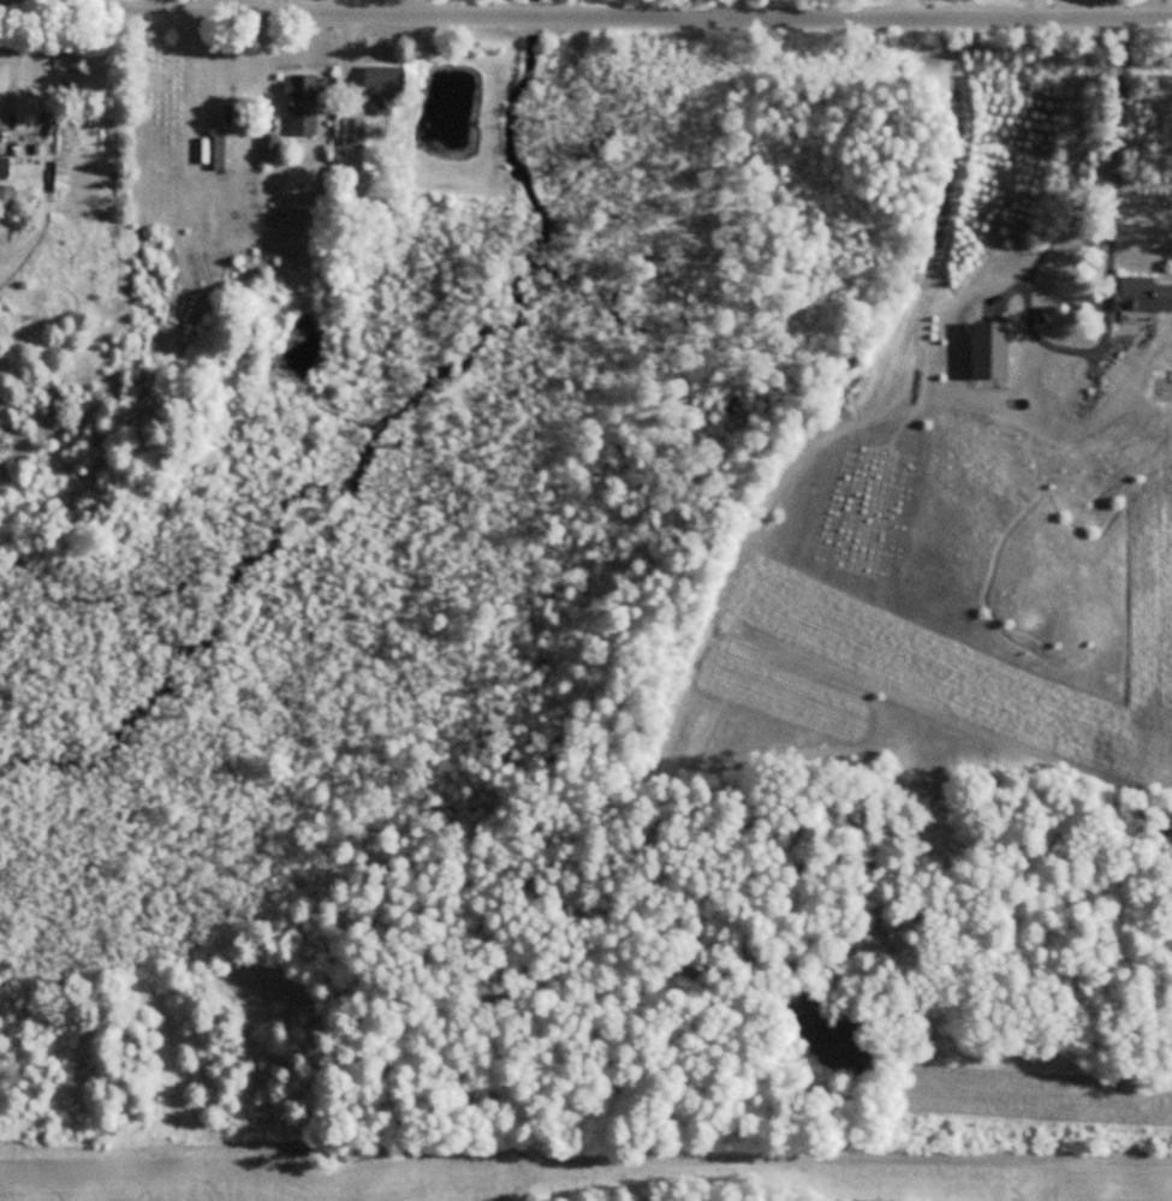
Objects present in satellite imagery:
road: (906, 8)
road: (585, 14)
building: (380, 84)
building: (301, 105)
building: (352, 130)
building: (224, 151)
building: (4, 167)
building: (4, 196)
building: (1136, 293)
road: (1105, 319)
building: (989, 349)

